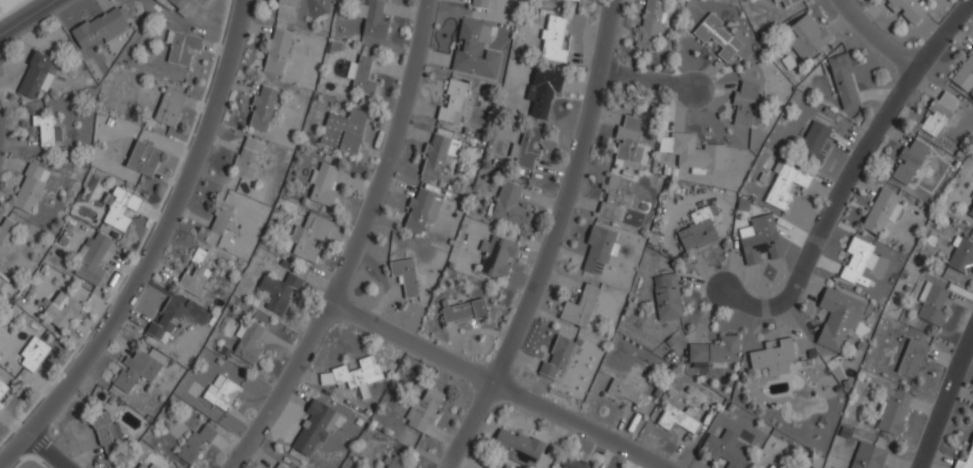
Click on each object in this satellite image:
building: (567, 0)
building: (775, 1)
building: (287, 2)
building: (789, 2)
building: (483, 4)
building: (180, 5)
park: (9, 6)
building: (905, 10)
road: (28, 17)
building: (372, 17)
building: (650, 24)
building: (100, 28)
road: (882, 33)
building: (807, 36)
building: (717, 37)
building: (552, 40)
building: (182, 48)
building: (475, 50)
building: (276, 51)
building: (963, 73)
building: (36, 75)
building: (361, 76)
road: (650, 82)
building: (843, 82)
building: (542, 90)
building: (452, 101)
building: (746, 105)
building: (168, 107)
building: (262, 109)
building: (939, 114)
building: (47, 130)
building: (343, 131)
building: (630, 142)
building: (812, 144)
building: (527, 147)
building: (692, 153)
building: (438, 154)
building: (143, 158)
building: (247, 158)
building: (909, 163)
road: (852, 173)
building: (321, 185)
building: (785, 185)
building: (29, 188)
building: (972, 196)
building: (613, 198)
building: (120, 205)
building: (508, 205)
building: (421, 211)
building: (880, 212)
building: (971, 213)
building: (220, 217)
building: (698, 230)
building: (6, 234)
building: (309, 236)
road: (555, 241)
building: (759, 241)
road: (360, 247)
road: (155, 249)
building: (597, 251)
building: (497, 257)
building: (961, 257)
building: (92, 259)
building: (857, 262)
building: (196, 271)
building: (404, 276)
building: (278, 292)
building: (666, 297)
building: (932, 304)
building: (579, 307)
building: (61, 310)
building: (462, 311)
building: (165, 320)
building: (837, 320)
building: (248, 343)
building: (713, 352)
building: (33, 354)
building: (556, 356)
building: (773, 357)
building: (912, 359)
building: (136, 371)
building: (351, 376)
road: (498, 386)
building: (2, 387)
building: (623, 392)
building: (221, 393)
building: (2, 403)
road: (945, 405)
building: (424, 410)
building: (892, 411)
building: (677, 420)
building: (313, 429)
building: (105, 431)
building: (195, 444)
building: (517, 447)
building: (725, 449)
building: (971, 449)
road: (43, 456)
building: (868, 456)
building: (394, 463)
building: (573, 464)
building: (278, 465)
building: (141, 466)
building: (152, 466)
building: (772, 466)

